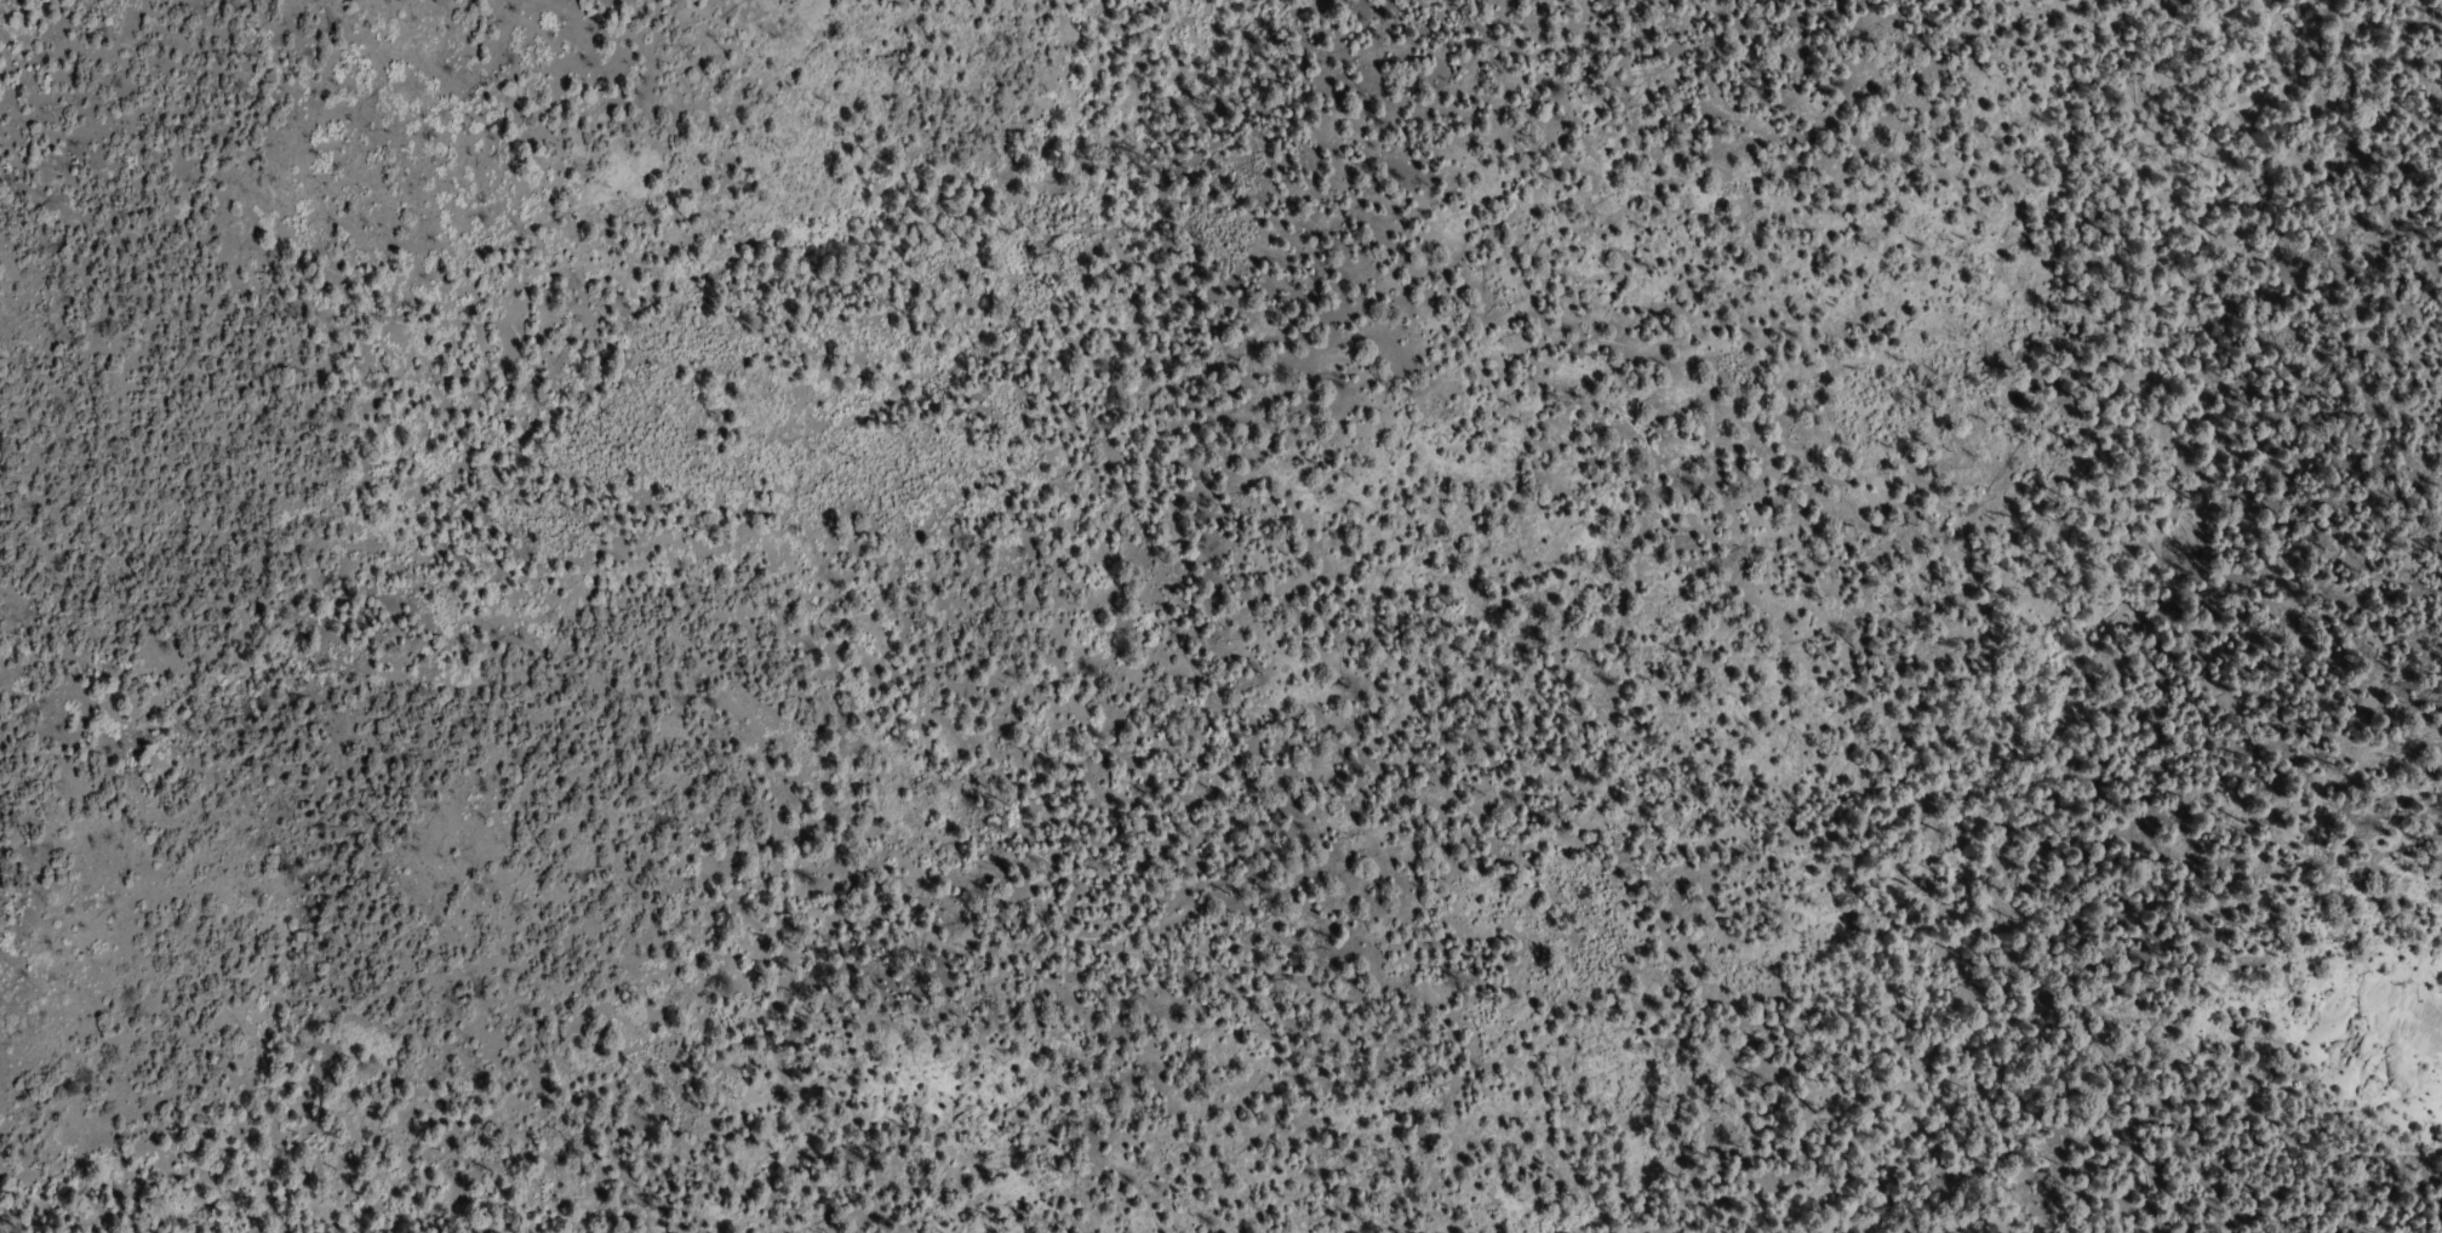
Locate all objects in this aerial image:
road: (2012, 622)

